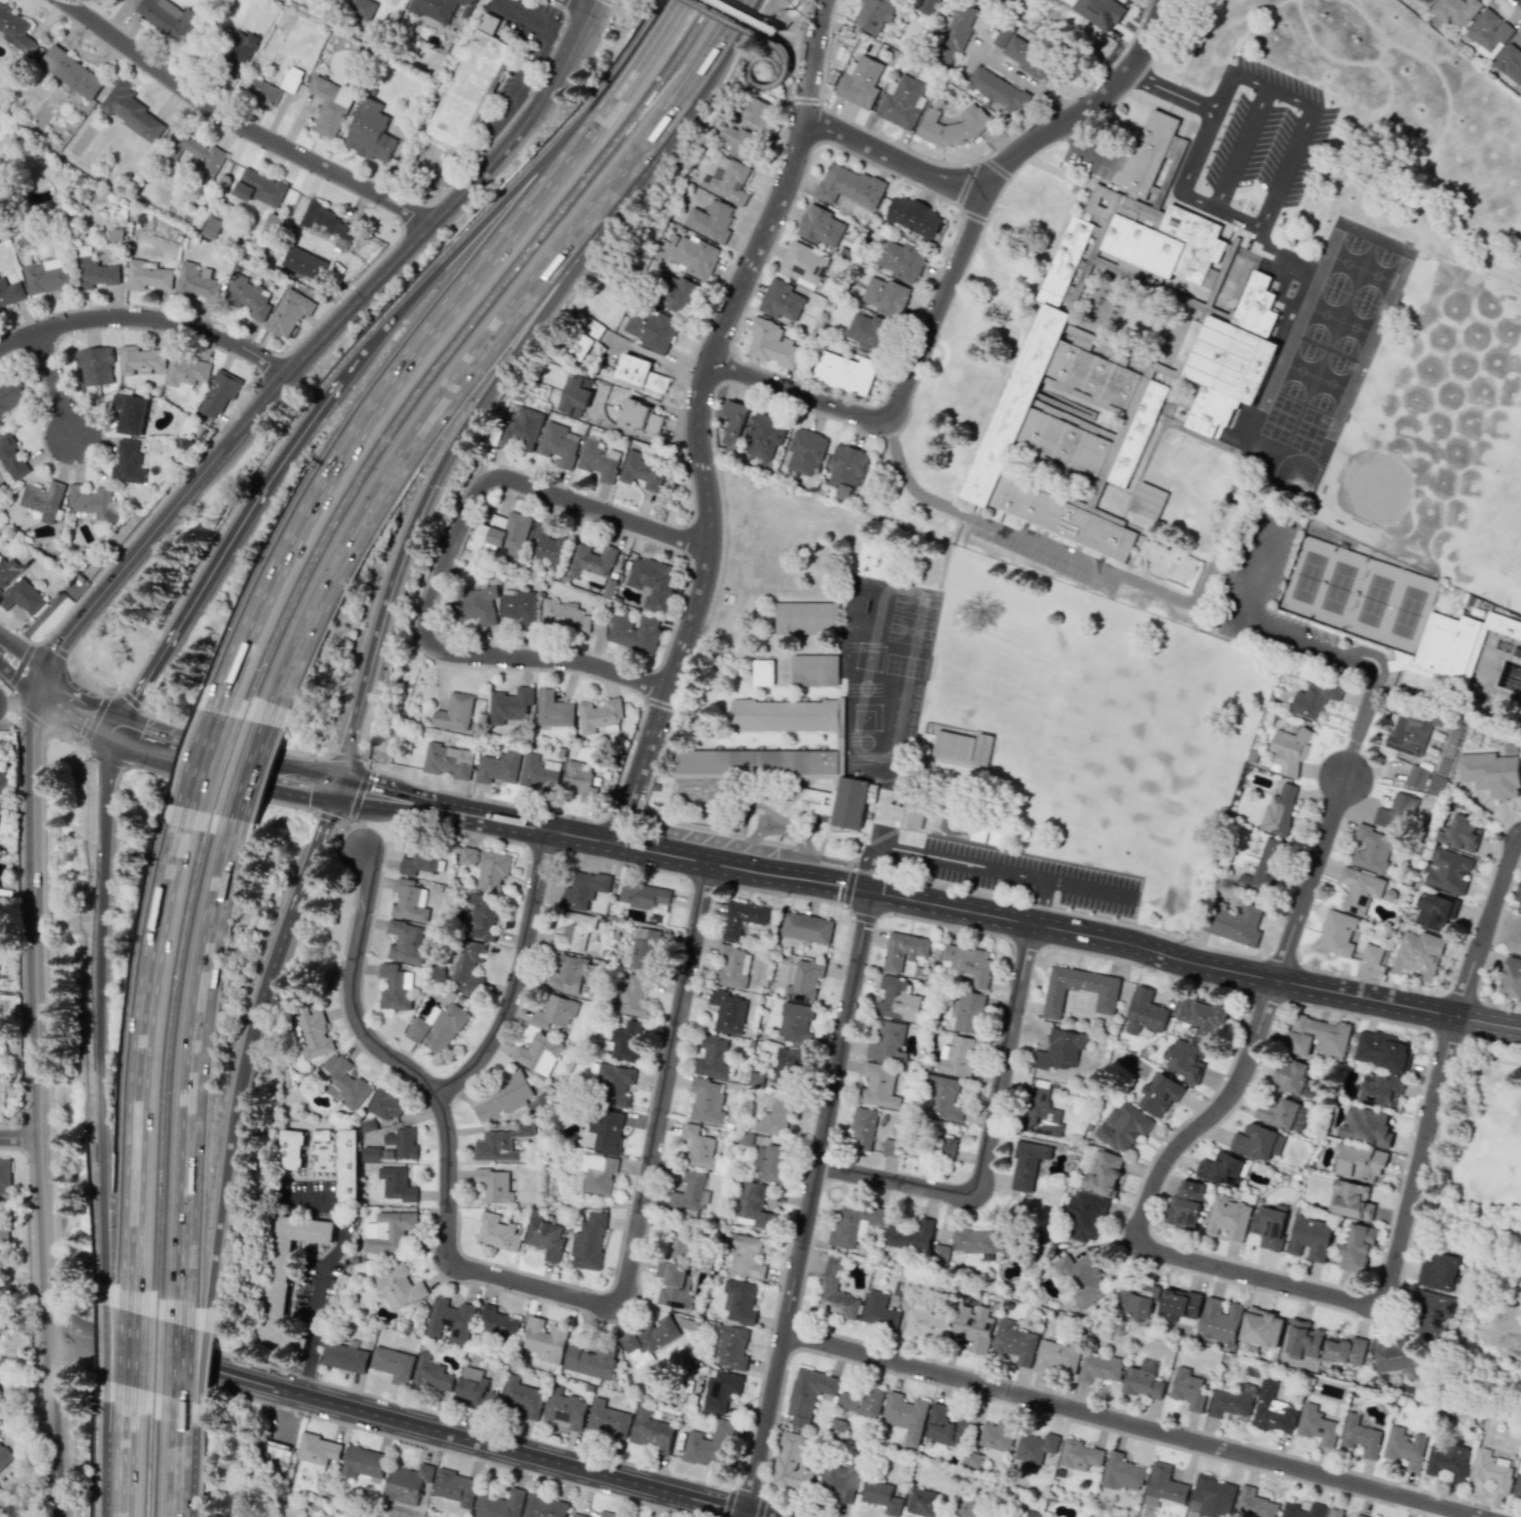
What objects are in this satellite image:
building: (119, 0)
building: (465, 0)
building: (1424, 2)
road: (616, 3)
road: (581, 4)
building: (928, 6)
building: (360, 8)
building: (434, 9)
building: (1455, 10)
building: (1099, 12)
building: (874, 14)
building: (167, 18)
road: (673, 21)
building: (15, 28)
road: (720, 29)
road: (757, 32)
building: (953, 33)
building: (1489, 33)
road: (560, 41)
road: (543, 47)
building: (237, 52)
building: (1023, 53)
road: (758, 57)
building: (1510, 63)
building: (71, 72)
building: (291, 79)
building: (860, 82)
road: (1026, 83)
building: (468, 88)
building: (996, 89)
road: (1221, 89)
building: (263, 91)
road: (1168, 97)
road: (788, 99)
road: (803, 99)
building: (902, 102)
building: (329, 104)
building: (754, 110)
building: (133, 114)
road: (240, 126)
building: (953, 127)
building: (369, 131)
building: (736, 140)
road: (1236, 141)
road: (1264, 153)
building: (197, 154)
parking lot: (1087, 154)
road: (1195, 155)
road: (892, 156)
road: (1298, 166)
building: (3, 179)
building: (729, 180)
building: (849, 186)
flagpole: (1074, 188)
building: (259, 189)
road: (455, 197)
road: (506, 198)
building: (913, 217)
building: (1161, 217)
building: (710, 221)
building: (821, 226)
building: (210, 228)
park: (1360, 256)
building: (694, 257)
building: (901, 261)
building: (303, 263)
building: (802, 263)
road: (954, 266)
park: (1390, 269)
building: (95, 273)
building: (147, 276)
park: (1416, 276)
building: (45, 277)
building: (195, 282)
building: (10, 293)
building: (678, 295)
building: (247, 296)
building: (885, 296)
building: (1070, 298)
building: (781, 300)
park: (1339, 307)
building: (288, 313)
road: (147, 316)
park: (1368, 320)
building: (650, 328)
building: (869, 332)
building: (583, 339)
building: (771, 344)
road: (417, 349)
building: (1232, 357)
building: (140, 359)
park: (1314, 364)
building: (95, 366)
road: (464, 370)
building: (185, 371)
building: (844, 372)
building: (640, 373)
park: (1344, 377)
road: (52, 383)
building: (220, 393)
building: (10, 394)
building: (575, 396)
road: (477, 404)
building: (129, 413)
park: (1291, 415)
building: (640, 417)
road: (696, 418)
building: (1065, 423)
building: (734, 424)
park: (1321, 428)
building: (517, 429)
building: (764, 436)
building: (556, 444)
building: (805, 451)
building: (12, 458)
building: (598, 460)
building: (127, 463)
building: (846, 469)
building: (642, 471)
road: (916, 493)
building: (43, 500)
building: (1147, 501)
building: (92, 502)
road: (158, 523)
road: (228, 536)
building: (497, 536)
building: (546, 545)
road: (1058, 550)
road: (1272, 555)
road: (1250, 557)
road: (444, 561)
building: (591, 563)
building: (6, 570)
road: (1207, 575)
park: (1307, 576)
building: (652, 581)
park: (1337, 587)
building: (22, 596)
park: (1374, 599)
building: (476, 605)
road: (1257, 607)
park: (1407, 611)
building: (562, 617)
building: (806, 618)
building: (634, 632)
building: (1453, 645)
road: (1350, 655)
road: (28, 657)
building: (814, 670)
building: (762, 672)
road: (20, 677)
building: (1314, 697)
building: (510, 705)
building: (553, 709)
building: (454, 712)
building: (784, 715)
road: (95, 717)
building: (599, 717)
road: (33, 720)
park: (1088, 721)
road: (897, 743)
building: (962, 747)
road: (188, 748)
building: (1288, 751)
road: (208, 755)
road: (105, 758)
building: (448, 760)
road: (243, 766)
building: (499, 767)
building: (538, 771)
building: (1491, 773)
building: (3, 776)
building: (785, 777)
building: (1416, 777)
building: (579, 780)
building: (1436, 785)
road: (356, 794)
building: (1281, 810)
road: (443, 811)
building: (1395, 811)
building: (915, 814)
building: (952, 825)
building: (1461, 833)
building: (1371, 849)
building: (468, 855)
road: (382, 858)
road: (959, 861)
building: (419, 862)
road: (709, 864)
parking lot: (969, 864)
building: (1265, 867)
building: (491, 870)
building: (1449, 871)
road: (1308, 878)
road: (301, 886)
building: (1359, 889)
building: (583, 890)
building: (643, 894)
building: (1519, 896)
building: (409, 901)
road: (1036, 901)
road: (952, 908)
building: (1435, 911)
building: (481, 917)
building: (741, 918)
building: (1233, 923)
road: (1486, 924)
building: (807, 928)
road: (344, 930)
building: (574, 932)
building: (1337, 933)
building: (404, 942)
building: (645, 948)
building: (903, 950)
building: (1371, 953)
building: (1418, 954)
building: (969, 963)
building: (462, 965)
building: (732, 967)
building: (565, 973)
building: (1511, 978)
road: (520, 979)
building: (802, 979)
road: (1276, 980)
building: (394, 987)
building: (1079, 990)
building: (632, 997)
building: (893, 999)
road: (32, 1004)
road: (258, 1004)
road: (91, 1007)
building: (727, 1011)
building: (556, 1012)
building: (967, 1012)
building: (1144, 1012)
building: (1201, 1015)
building: (794, 1023)
building: (436, 1028)
building: (313, 1032)
building: (1317, 1036)
building: (626, 1041)
building: (887, 1044)
building: (1382, 1049)
building: (1060, 1051)
building: (539, 1053)
road: (1484, 1053)
building: (715, 1056)
building: (956, 1057)
building: (1185, 1060)
road: (146, 1064)
building: (786, 1066)
road: (183, 1073)
building: (1291, 1077)
building: (343, 1082)
building: (612, 1083)
road: (664, 1086)
building: (878, 1086)
building: (1381, 1091)
building: (1159, 1094)
building: (941, 1098)
building: (706, 1101)
building: (385, 1104)
building: (492, 1107)
building: (776, 1112)
building: (1041, 1113)
building: (1279, 1113)
road: (445, 1121)
building: (1123, 1126)
building: (1366, 1126)
building: (862, 1128)
building: (605, 1130)
building: (320, 1134)
road: (19, 1137)
road: (989, 1137)
building: (402, 1142)
building: (1257, 1142)
building: (501, 1143)
building: (699, 1147)
building: (890, 1147)
building: (944, 1147)
building: (913, 1148)
building: (288, 1149)
building: (370, 1154)
park: (1482, 1158)
building: (1359, 1162)
building: (770, 1163)
building: (348, 1164)
building: (1027, 1164)
building: (1223, 1170)
building: (1103, 1172)
road: (218, 1175)
building: (4, 1176)
building: (394, 1184)
building: (494, 1185)
road: (308, 1197)
building: (1351, 1199)
road: (810, 1205)
building: (1185, 1205)
building: (752, 1206)
building: (1085, 1217)
building: (1228, 1218)
building: (854, 1225)
building: (1269, 1225)
building: (3, 1226)
building: (388, 1231)
building: (497, 1232)
building: (910, 1234)
building: (547, 1237)
building: (1310, 1238)
building: (982, 1241)
building: (589, 1242)
building: (678, 1247)
building: (1357, 1248)
building: (940, 1254)
building: (746, 1256)
road: (329, 1258)
building: (1438, 1272)
building: (283, 1274)
building: (831, 1275)
road: (1254, 1277)
building: (1083, 1279)
building: (401, 1282)
building: (673, 1285)
building: (1136, 1300)
building: (739, 1301)
building: (1179, 1304)
building: (879, 1311)
building: (1431, 1314)
building: (450, 1321)
building: (1219, 1321)
building: (496, 1323)
building: (925, 1325)
building: (973, 1326)
building: (1, 1327)
building: (1261, 1328)
building: (650, 1337)
road: (179, 1340)
building: (544, 1340)
building: (1303, 1340)
building: (1014, 1342)
building: (730, 1347)
building: (1345, 1350)
road: (121, 1352)
building: (345, 1357)
building: (1057, 1357)
building: (1396, 1357)
road: (304, 1360)
building: (590, 1361)
road: (134, 1362)
building: (393, 1363)
road: (173, 1364)
building: (1099, 1368)
road: (195, 1371)
building: (431, 1374)
building: (1142, 1380)
building: (474, 1388)
building: (1187, 1389)
building: (720, 1390)
building: (808, 1394)
building: (522, 1397)
building: (860, 1400)
road: (1010, 1402)
building: (1232, 1403)
building: (564, 1409)
road: (281, 1410)
building: (1272, 1410)
building: (905, 1416)
building: (607, 1420)
road: (48, 1422)
road: (403, 1422)
road: (1136, 1424)
building: (1316, 1425)
building: (946, 1426)
building: (650, 1431)
building: (997, 1435)
building: (1360, 1436)
building: (707, 1444)
building: (1404, 1447)
building: (1035, 1448)
building: (317, 1450)
building: (1079, 1455)
building: (4, 1456)
road: (173, 1461)
building: (362, 1462)
building: (1447, 1462)
building: (790, 1463)
road: (130, 1464)
road: (186, 1465)
building: (1122, 1473)
building: (842, 1480)
building: (406, 1483)
building: (1518, 1483)
building: (1164, 1487)
building: (455, 1488)
road: (744, 1488)
building: (882, 1497)
building: (1211, 1497)
building: (924, 1503)
building: (500, 1504)
building: (1253, 1504)
building: (544, 1506)
building: (1290, 1507)
building: (968, 1509)
building: (1334, 1512)
building: (1019, 1513)
building: (606, 1514)
building: (575, 1515)
building: (1359, 1516)

